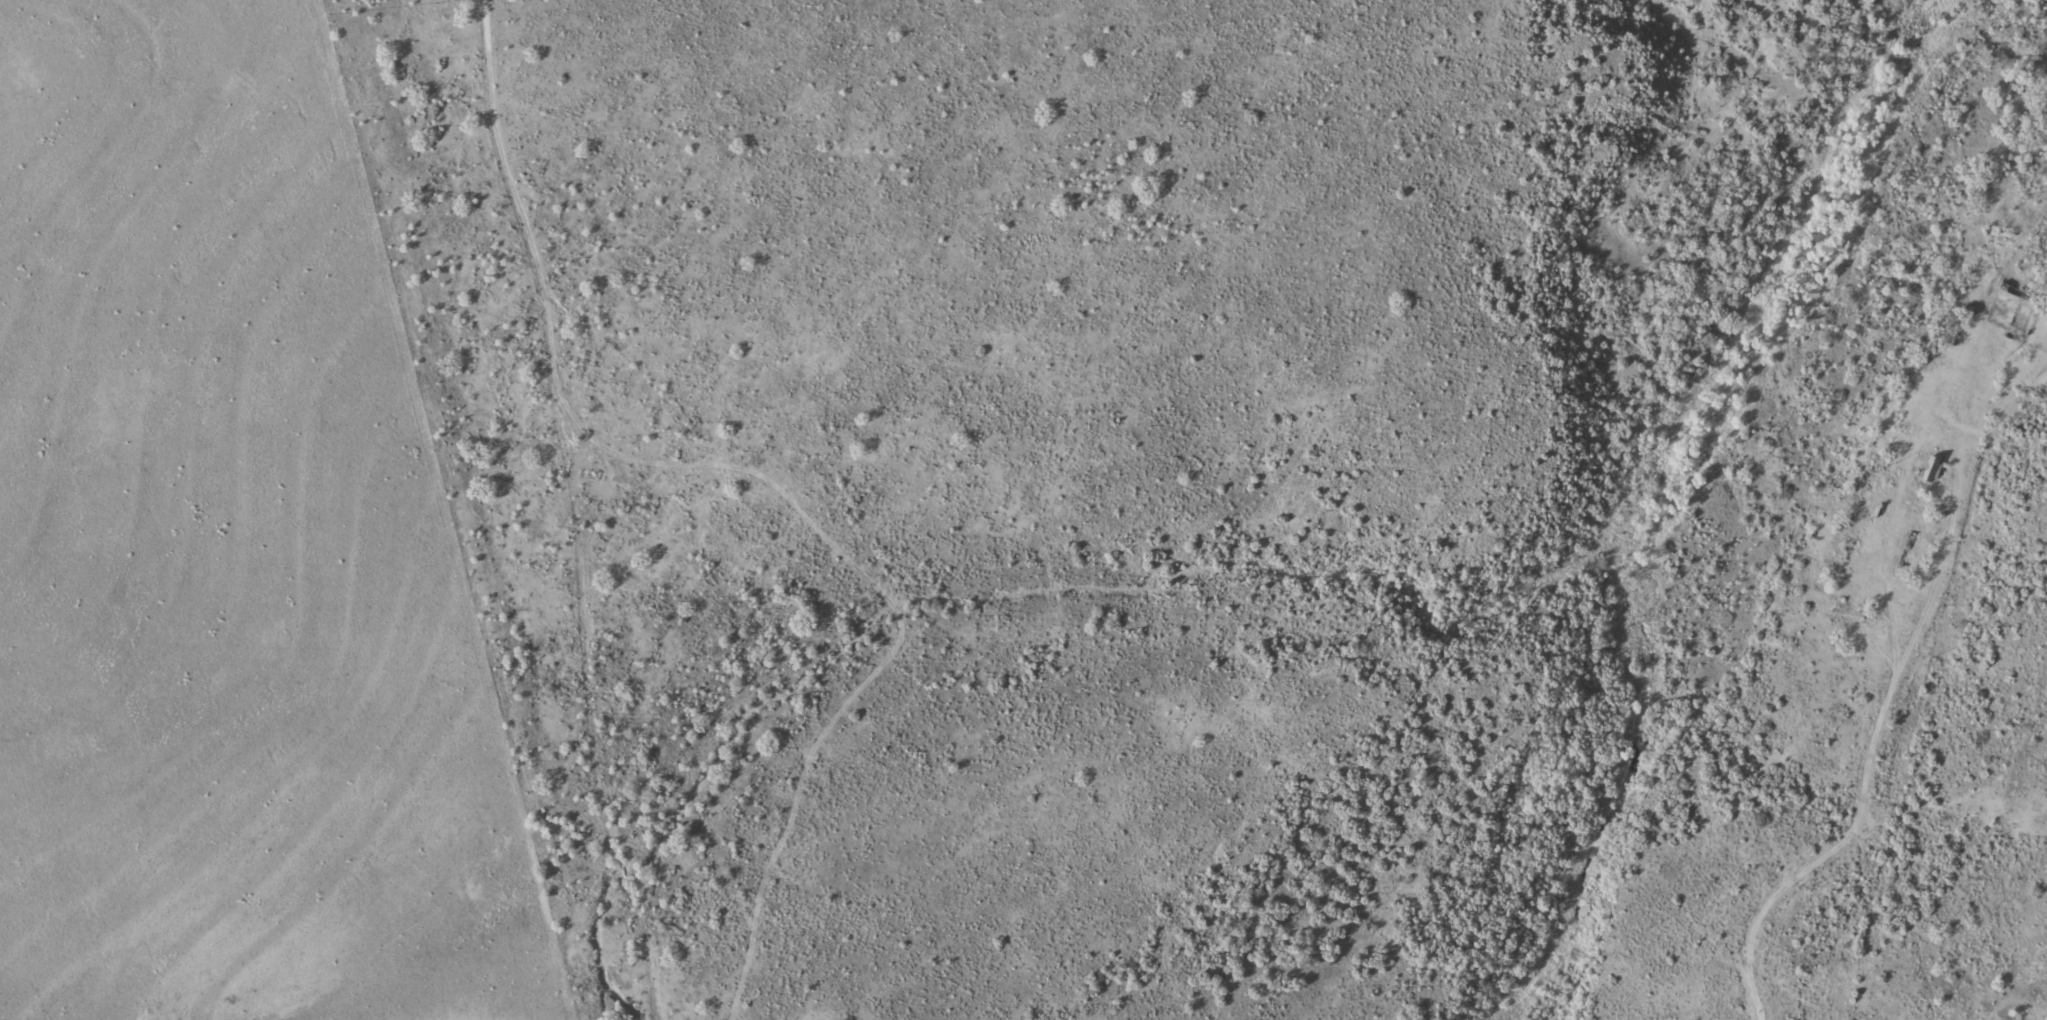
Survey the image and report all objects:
road: (1820, 774)

